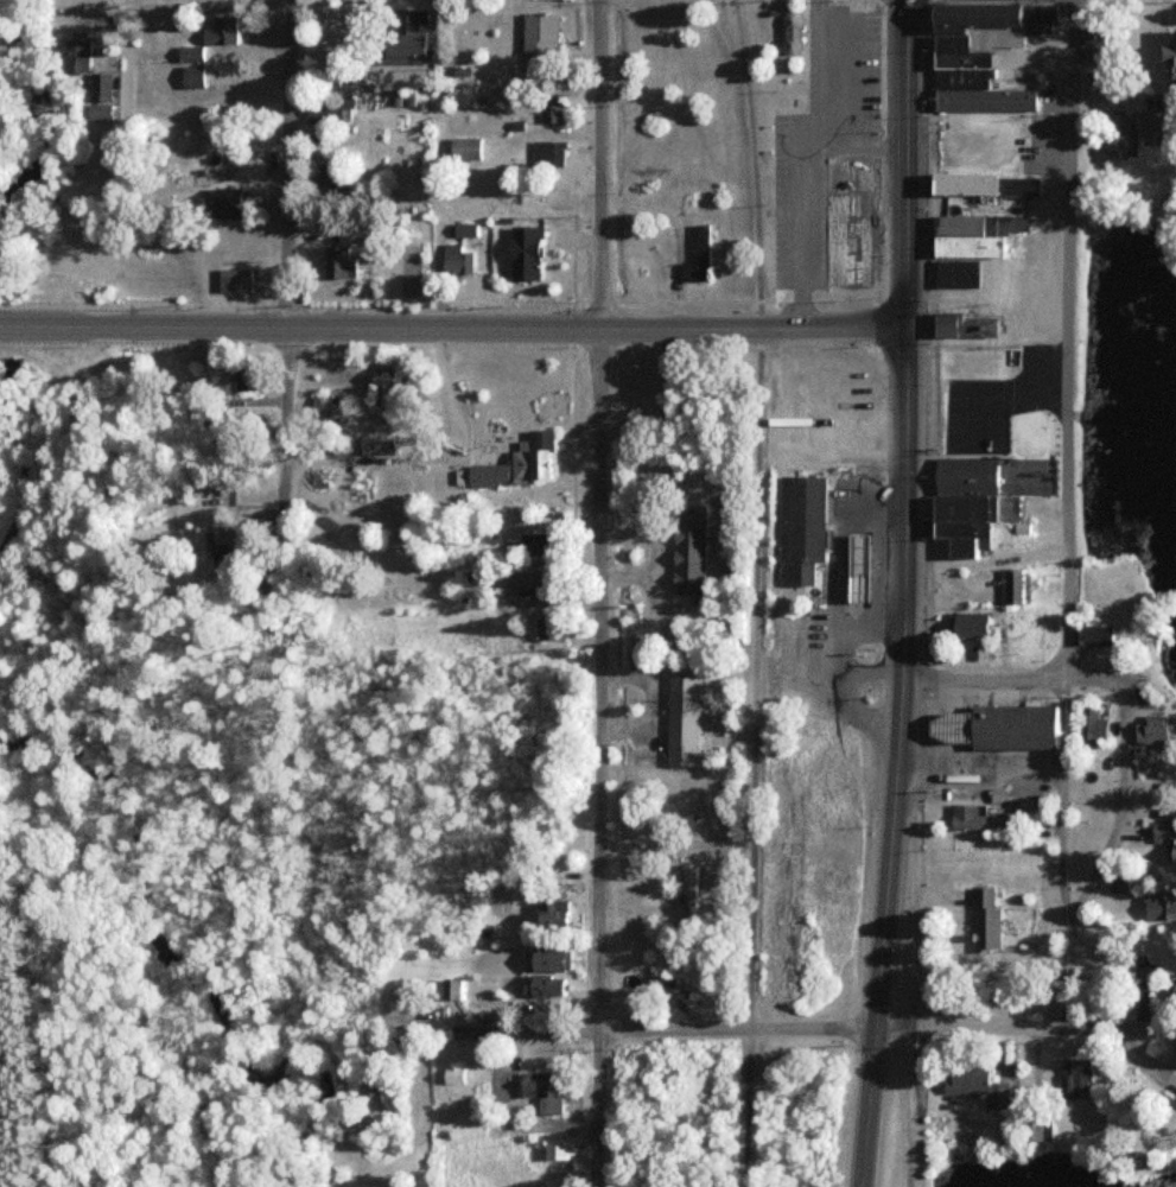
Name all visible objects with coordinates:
building: (218, 32)
building: (788, 34)
building: (538, 38)
building: (400, 50)
building: (187, 55)
building: (1094, 55)
building: (977, 56)
building: (1168, 59)
parking lot: (851, 63)
building: (190, 72)
road: (815, 72)
road: (854, 72)
building: (89, 78)
building: (329, 110)
building: (1151, 125)
building: (1117, 132)
building: (463, 151)
road: (795, 182)
building: (981, 186)
parking lot: (796, 201)
building: (225, 203)
building: (462, 231)
building: (972, 236)
building: (521, 255)
building: (697, 259)
building: (452, 261)
building: (336, 265)
building: (954, 275)
building: (236, 281)
road: (287, 311)
road: (452, 328)
building: (961, 328)
road: (1064, 338)
building: (381, 391)
road: (795, 442)
building: (373, 446)
building: (530, 458)
building: (485, 475)
building: (961, 503)
building: (799, 526)
building: (536, 544)
building: (853, 552)
building: (686, 556)
building: (523, 582)
road: (597, 589)
road: (752, 592)
road: (901, 593)
building: (967, 626)
building: (1091, 634)
road: (1011, 678)
building: (951, 725)
building: (1013, 725)
building: (1089, 725)
building: (1150, 731)
road: (986, 779)
road: (1063, 806)
building: (970, 814)
building: (1161, 840)
road: (1104, 852)
building: (1113, 884)
building: (686, 891)
road: (913, 899)
building: (1157, 908)
building: (549, 913)
building: (983, 919)
building: (542, 957)
building: (659, 979)
building: (542, 986)
building: (447, 989)
road: (809, 1028)
building: (974, 1084)
building: (539, 1090)
building: (555, 1149)

